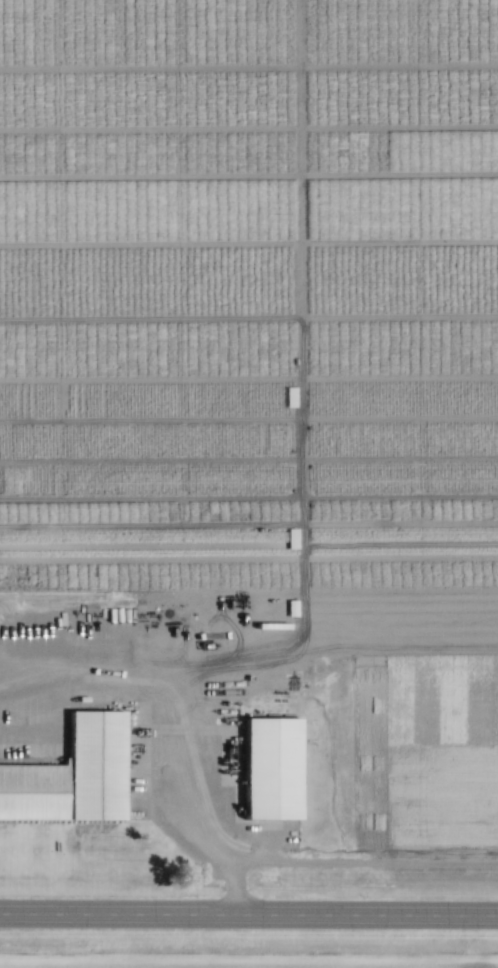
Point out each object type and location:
building: (287, 159)
building: (288, 191)
road: (172, 730)
building: (275, 771)
building: (74, 777)
road: (248, 920)

